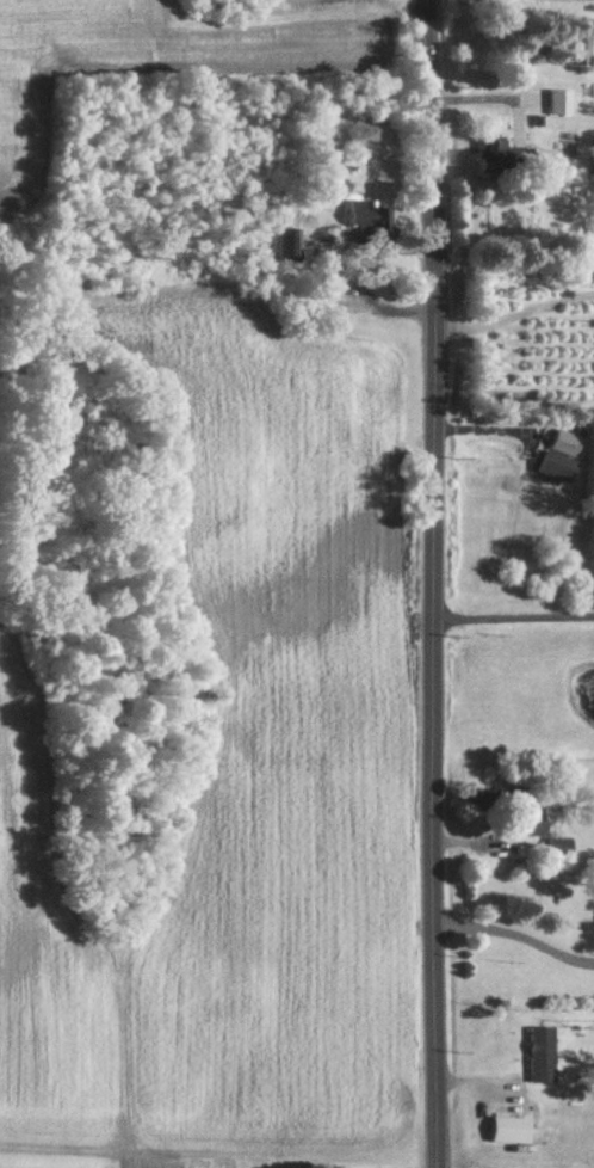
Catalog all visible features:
building: (558, 42)
building: (546, 104)
building: (490, 155)
building: (348, 210)
building: (273, 242)
building: (313, 266)
road: (348, 278)
road: (505, 316)
building: (544, 454)
road: (419, 584)
road: (507, 619)
building: (479, 799)
building: (520, 819)
building: (551, 846)
road: (511, 935)
building: (532, 1053)
building: (499, 1127)

